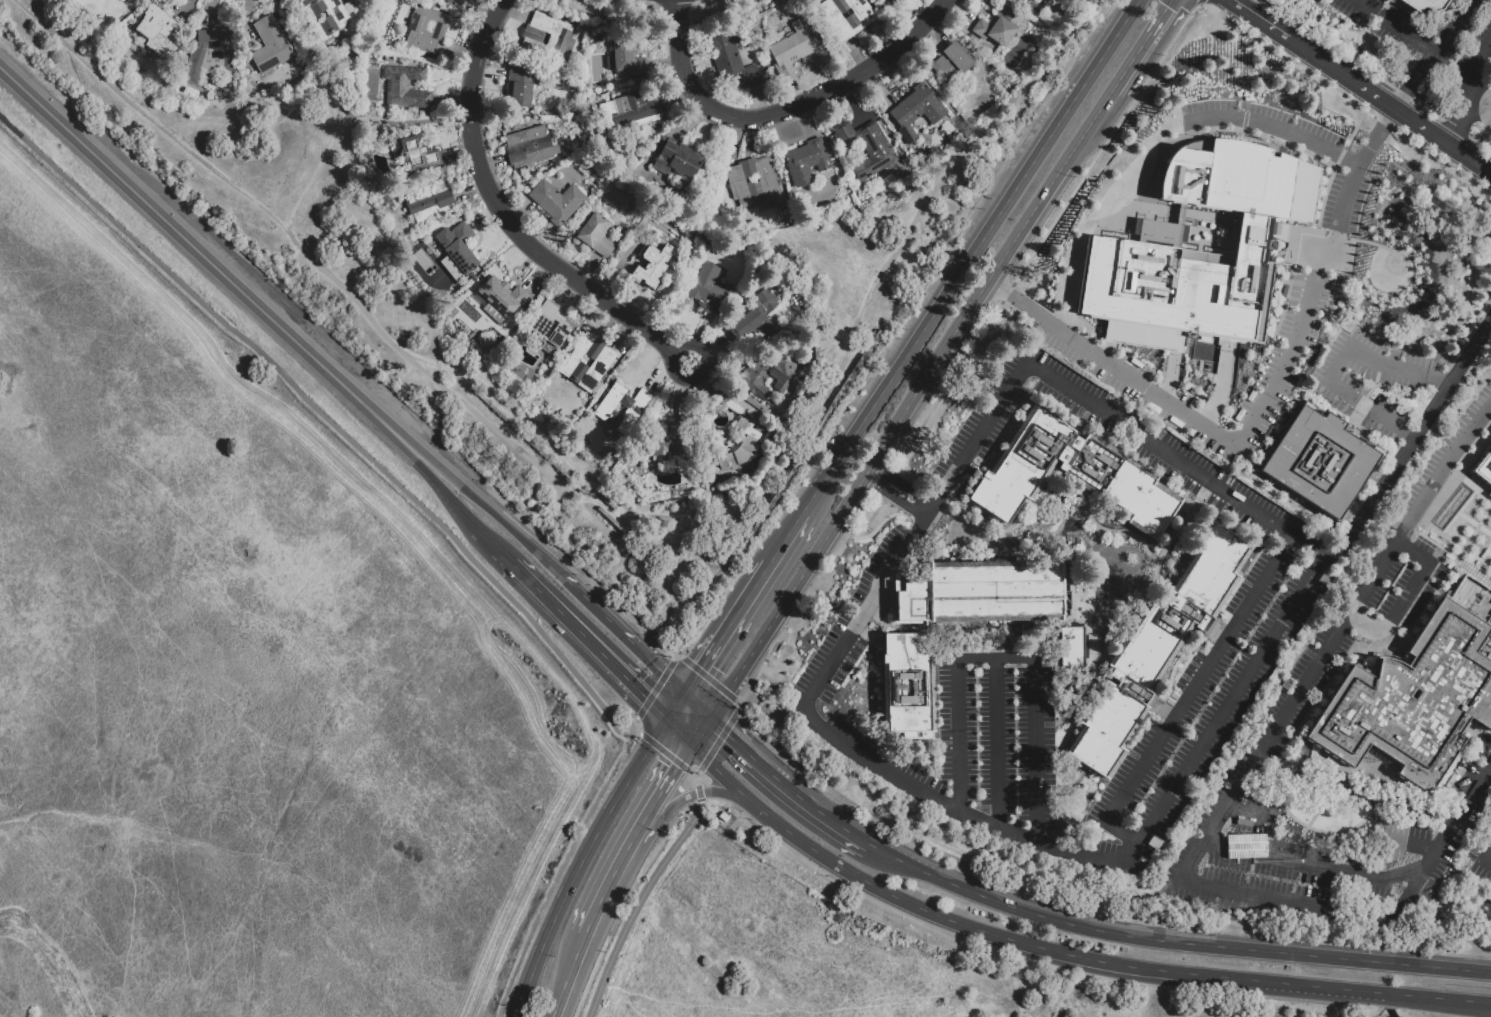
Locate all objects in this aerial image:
building: (887, 0)
building: (130, 1)
building: (150, 1)
building: (1036, 1)
building: (455, 2)
road: (1200, 2)
building: (1425, 6)
traffic signals: (1164, 7)
building: (324, 17)
building: (846, 18)
road: (1258, 19)
road: (656, 22)
road: (1453, 25)
building: (998, 26)
road: (1397, 26)
building: (158, 30)
building: (426, 30)
building: (547, 37)
road: (1139, 45)
road: (1299, 45)
building: (271, 48)
building: (791, 48)
building: (998, 54)
building: (210, 55)
building: (520, 58)
building: (731, 60)
building: (625, 61)
building: (951, 61)
road: (1471, 72)
road: (1376, 75)
road: (1414, 79)
building: (521, 87)
building: (406, 88)
road: (784, 110)
building: (916, 110)
road: (345, 112)
road: (1400, 112)
building: (572, 113)
building: (628, 114)
road: (1275, 124)
road: (1457, 126)
road: (1087, 128)
road: (1377, 135)
building: (661, 141)
building: (529, 146)
building: (866, 148)
building: (417, 157)
building: (678, 161)
building: (807, 162)
building: (412, 179)
building: (752, 182)
building: (556, 201)
building: (430, 203)
building: (713, 217)
road: (508, 218)
building: (452, 225)
road: (693, 228)
road: (740, 232)
building: (595, 235)
building: (648, 239)
building: (1137, 243)
road: (974, 244)
road: (193, 246)
building: (460, 249)
building: (651, 266)
building: (474, 285)
building: (708, 288)
building: (501, 299)
road: (1013, 301)
building: (536, 303)
building: (451, 315)
building: (757, 317)
building: (549, 327)
building: (512, 332)
building: (489, 337)
parking lot: (1368, 358)
building: (588, 362)
building: (549, 363)
road: (1337, 364)
building: (558, 376)
building: (767, 377)
road: (1170, 377)
road: (1222, 384)
building: (621, 408)
road: (1258, 417)
road: (329, 419)
building: (777, 431)
road: (1412, 440)
building: (671, 441)
building: (771, 441)
road: (889, 442)
road: (403, 443)
building: (738, 446)
road: (1174, 454)
building: (1318, 454)
building: (1106, 471)
road: (1442, 471)
building: (1485, 471)
road: (1256, 477)
road: (905, 484)
building: (1489, 495)
road: (477, 498)
road: (807, 500)
road: (895, 500)
road: (609, 503)
road: (464, 514)
road: (782, 536)
fountain: (961, 536)
fountain: (1112, 566)
road: (582, 573)
building: (1467, 589)
road: (1407, 595)
road: (742, 599)
fountain: (1116, 609)
road: (565, 616)
road: (622, 635)
building: (1489, 642)
road: (1299, 643)
building: (1076, 646)
building: (1158, 646)
building: (778, 651)
road: (676, 654)
road: (681, 654)
road: (673, 657)
road: (1010, 658)
road: (699, 663)
traffic signals: (698, 666)
road: (708, 678)
building: (907, 683)
road: (654, 688)
road: (1298, 692)
road: (642, 693)
road: (1189, 693)
traffic signals: (647, 698)
building: (1413, 700)
road: (738, 702)
road: (674, 703)
road: (696, 704)
road: (739, 708)
building: (777, 712)
road: (678, 728)
road: (700, 729)
traffic signals: (729, 735)
road: (718, 741)
road: (997, 742)
road: (663, 751)
road: (746, 751)
traffic signals: (673, 763)
road: (698, 773)
road: (694, 775)
road: (663, 779)
road: (697, 788)
road: (698, 796)
road: (680, 797)
road: (938, 798)
road: (742, 799)
road: (803, 799)
building: (722, 817)
road: (846, 830)
road: (1486, 856)
road: (578, 860)
road: (562, 865)
road: (1372, 877)
road: (1296, 902)
road: (638, 904)
road: (590, 915)
road: (949, 920)
road: (1173, 941)
road: (1376, 992)
road: (511, 1012)

